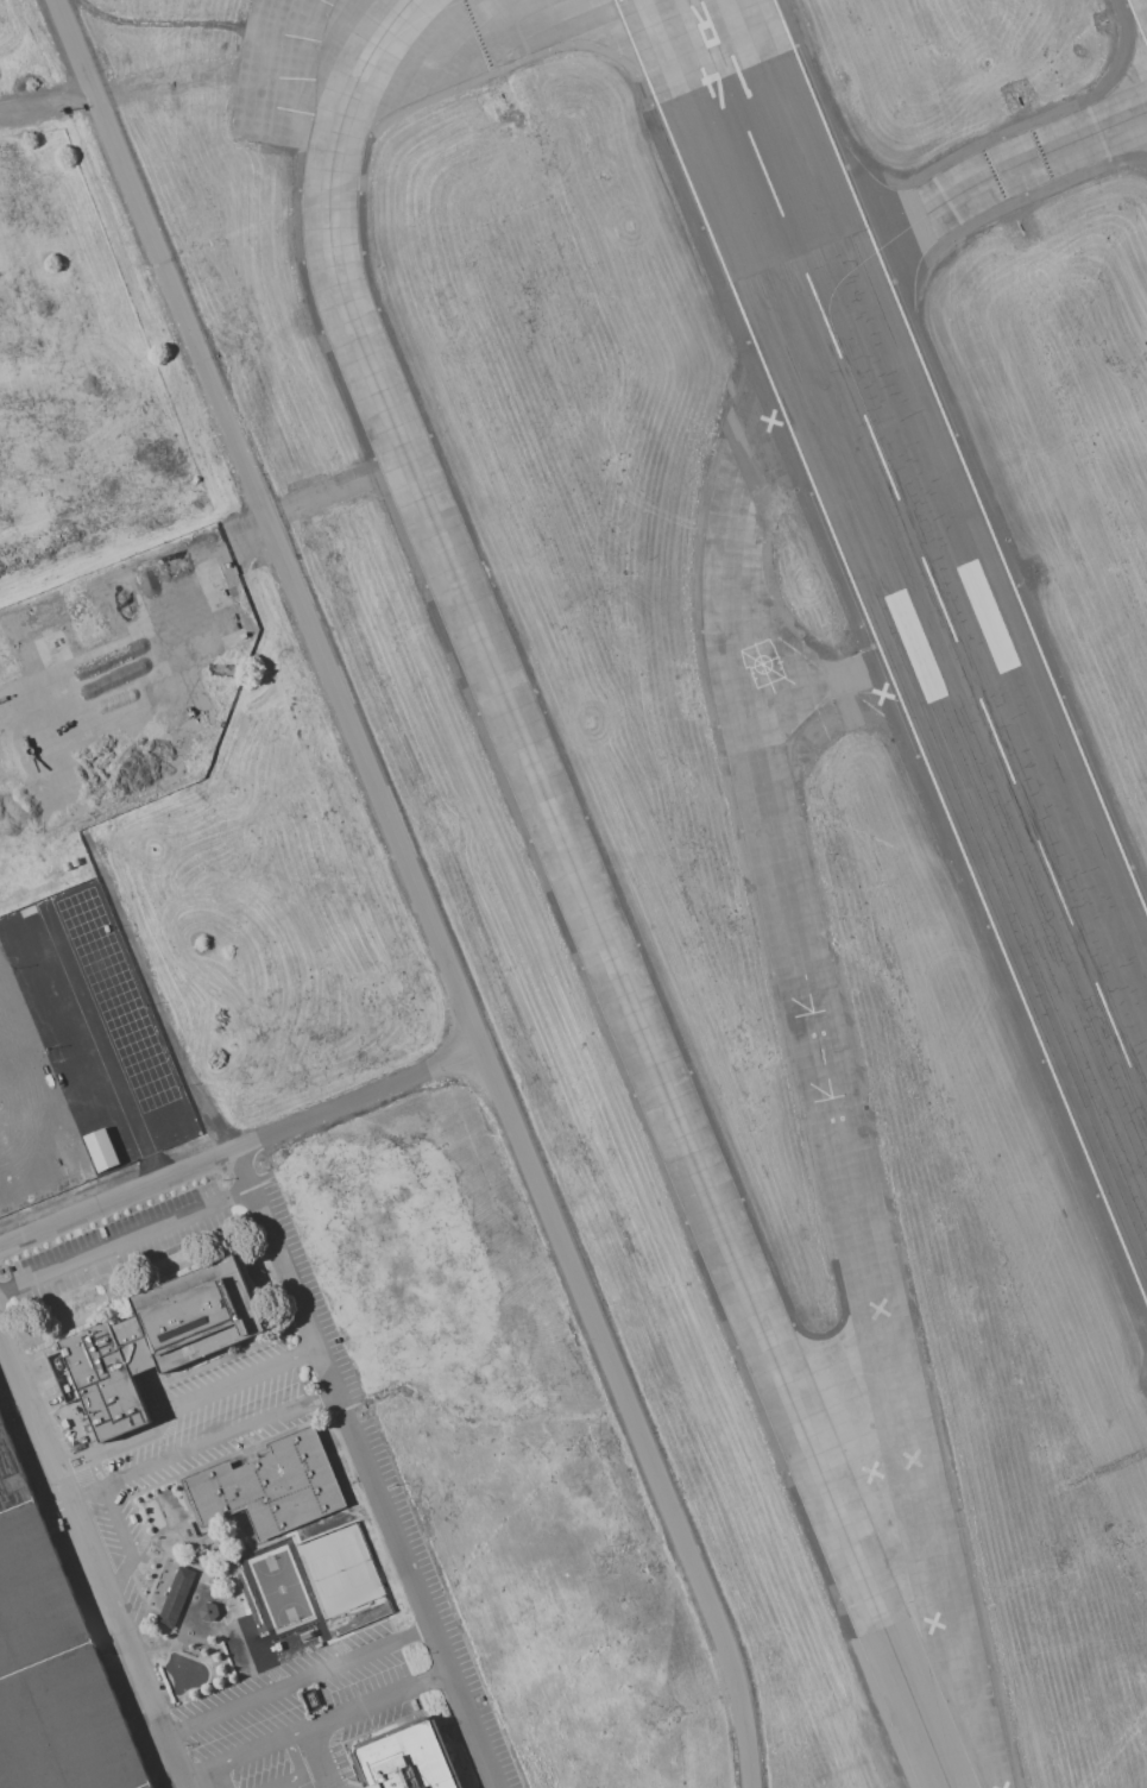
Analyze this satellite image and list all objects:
road: (48, 107)
airport taxiway: (339, 143)
airport taxiway: (971, 189)
airport runway: (921, 552)
airport taxiway: (853, 694)
airport: (758, 743)
road: (418, 889)
airport taxiway: (814, 1040)
airport taxiway: (648, 1046)
building: (99, 1150)
road: (241, 1150)
road: (125, 1239)
building: (157, 1331)
road: (178, 1400)
building: (68, 1423)
road: (200, 1441)
road: (95, 1468)
road: (367, 1469)
building: (267, 1484)
road: (125, 1541)
building: (339, 1547)
road: (94, 1561)
building: (279, 1580)
building: (174, 1597)
building: (359, 1601)
building: (206, 1612)
building: (53, 1655)
road: (298, 1679)
road: (316, 1721)
building: (407, 1755)
road: (298, 1770)
road: (220, 1776)

